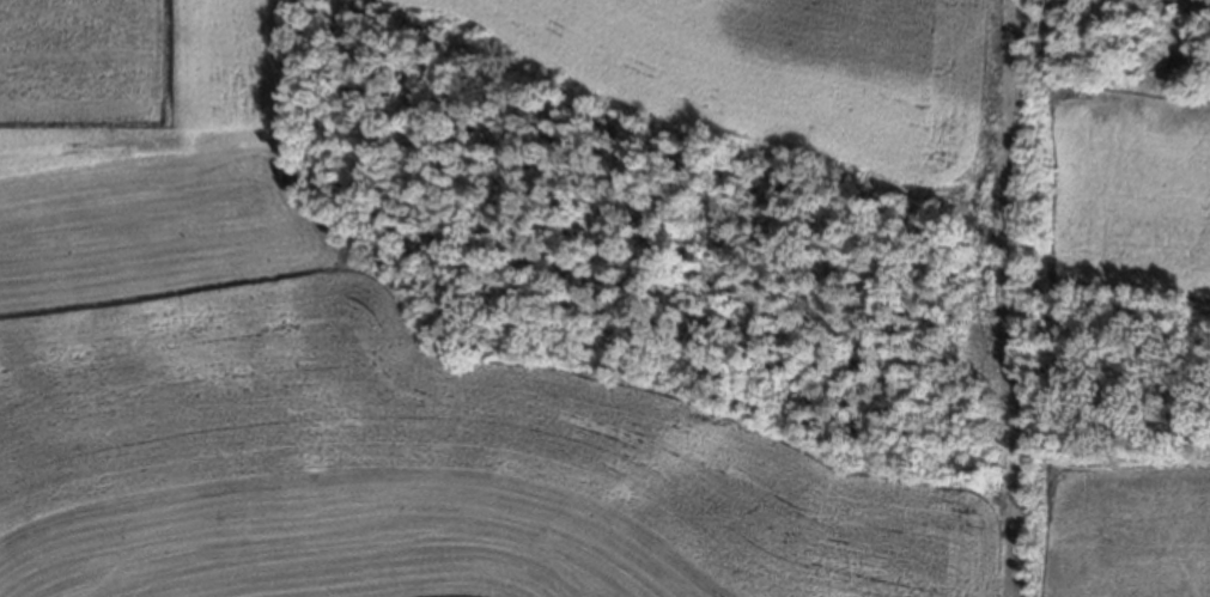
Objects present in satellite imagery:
road: (1014, 298)

